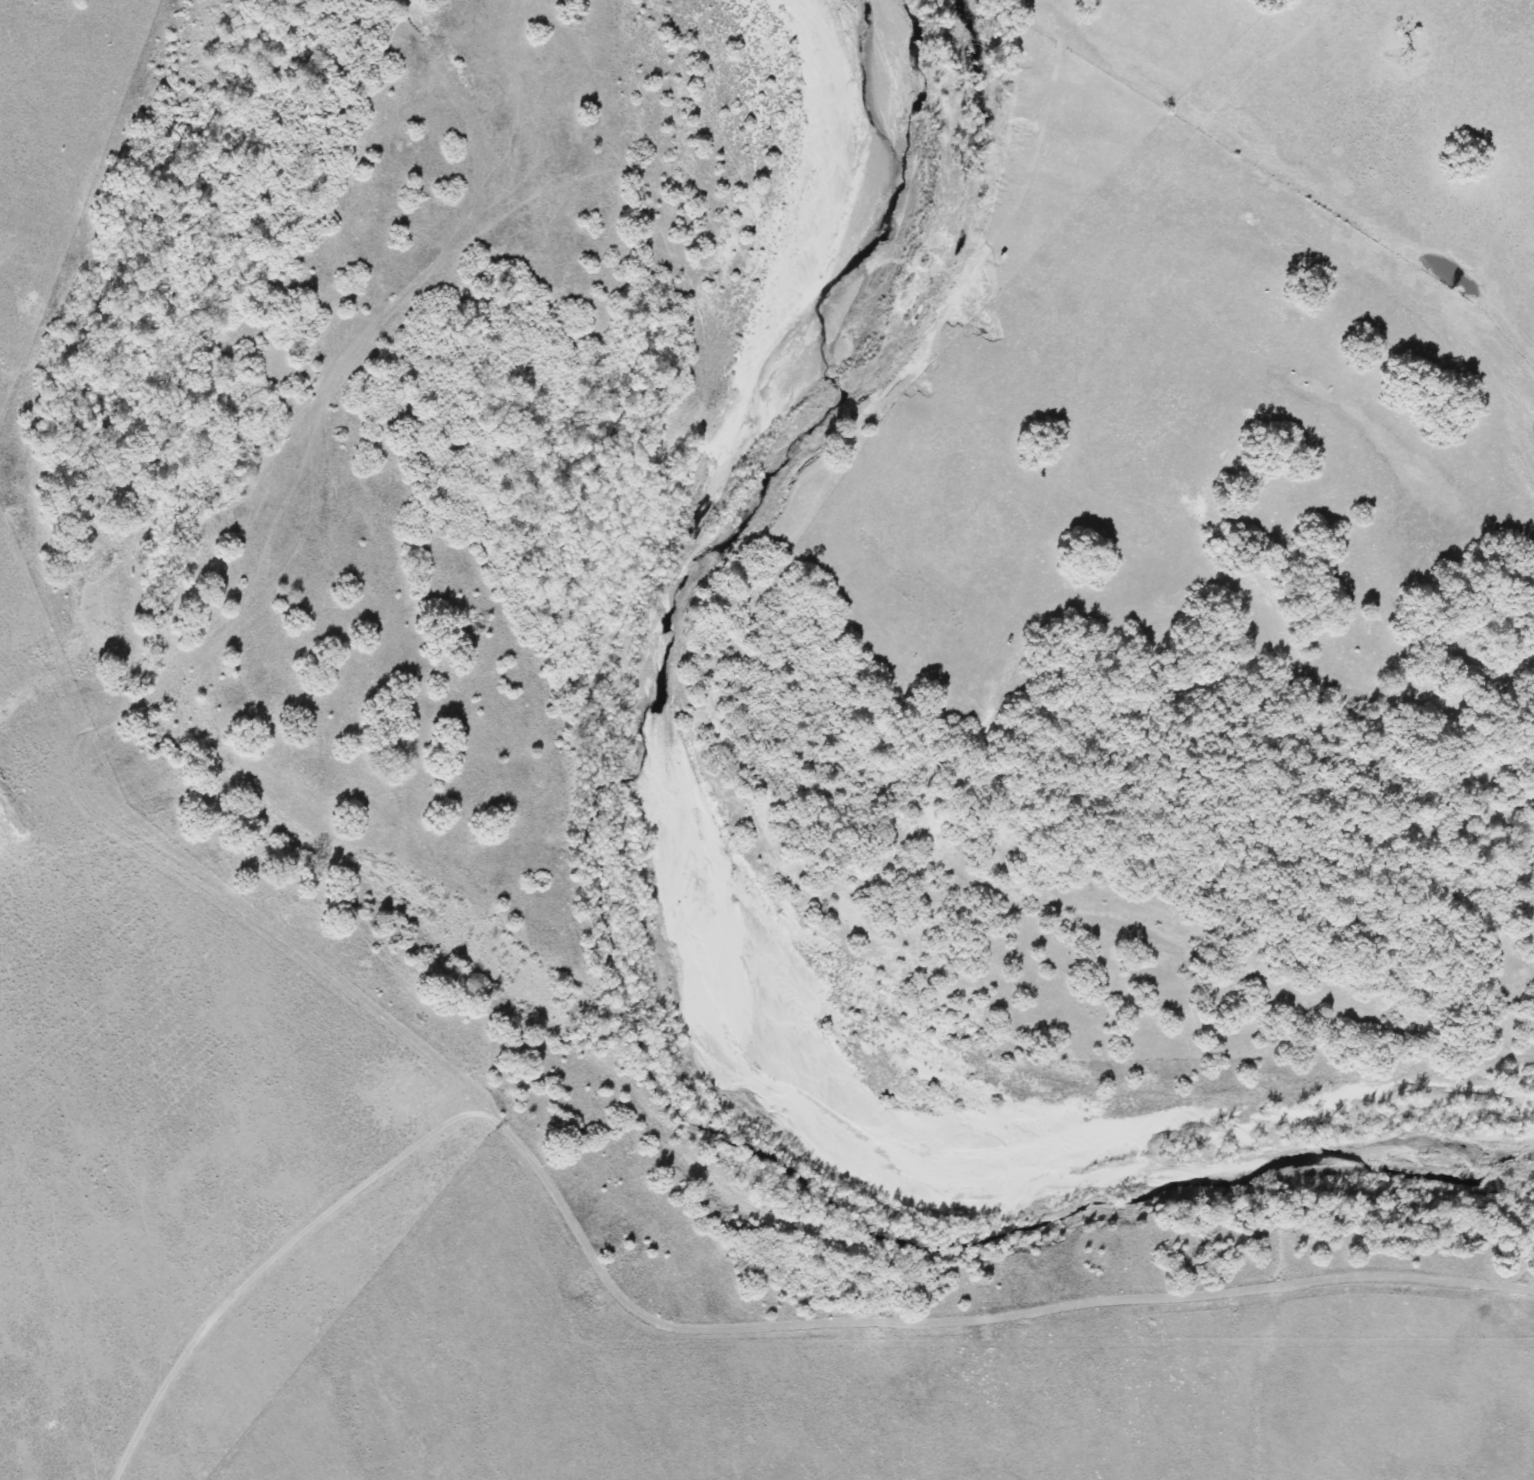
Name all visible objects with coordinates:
river: (609, 948)
road: (452, 1075)
road: (267, 1261)

